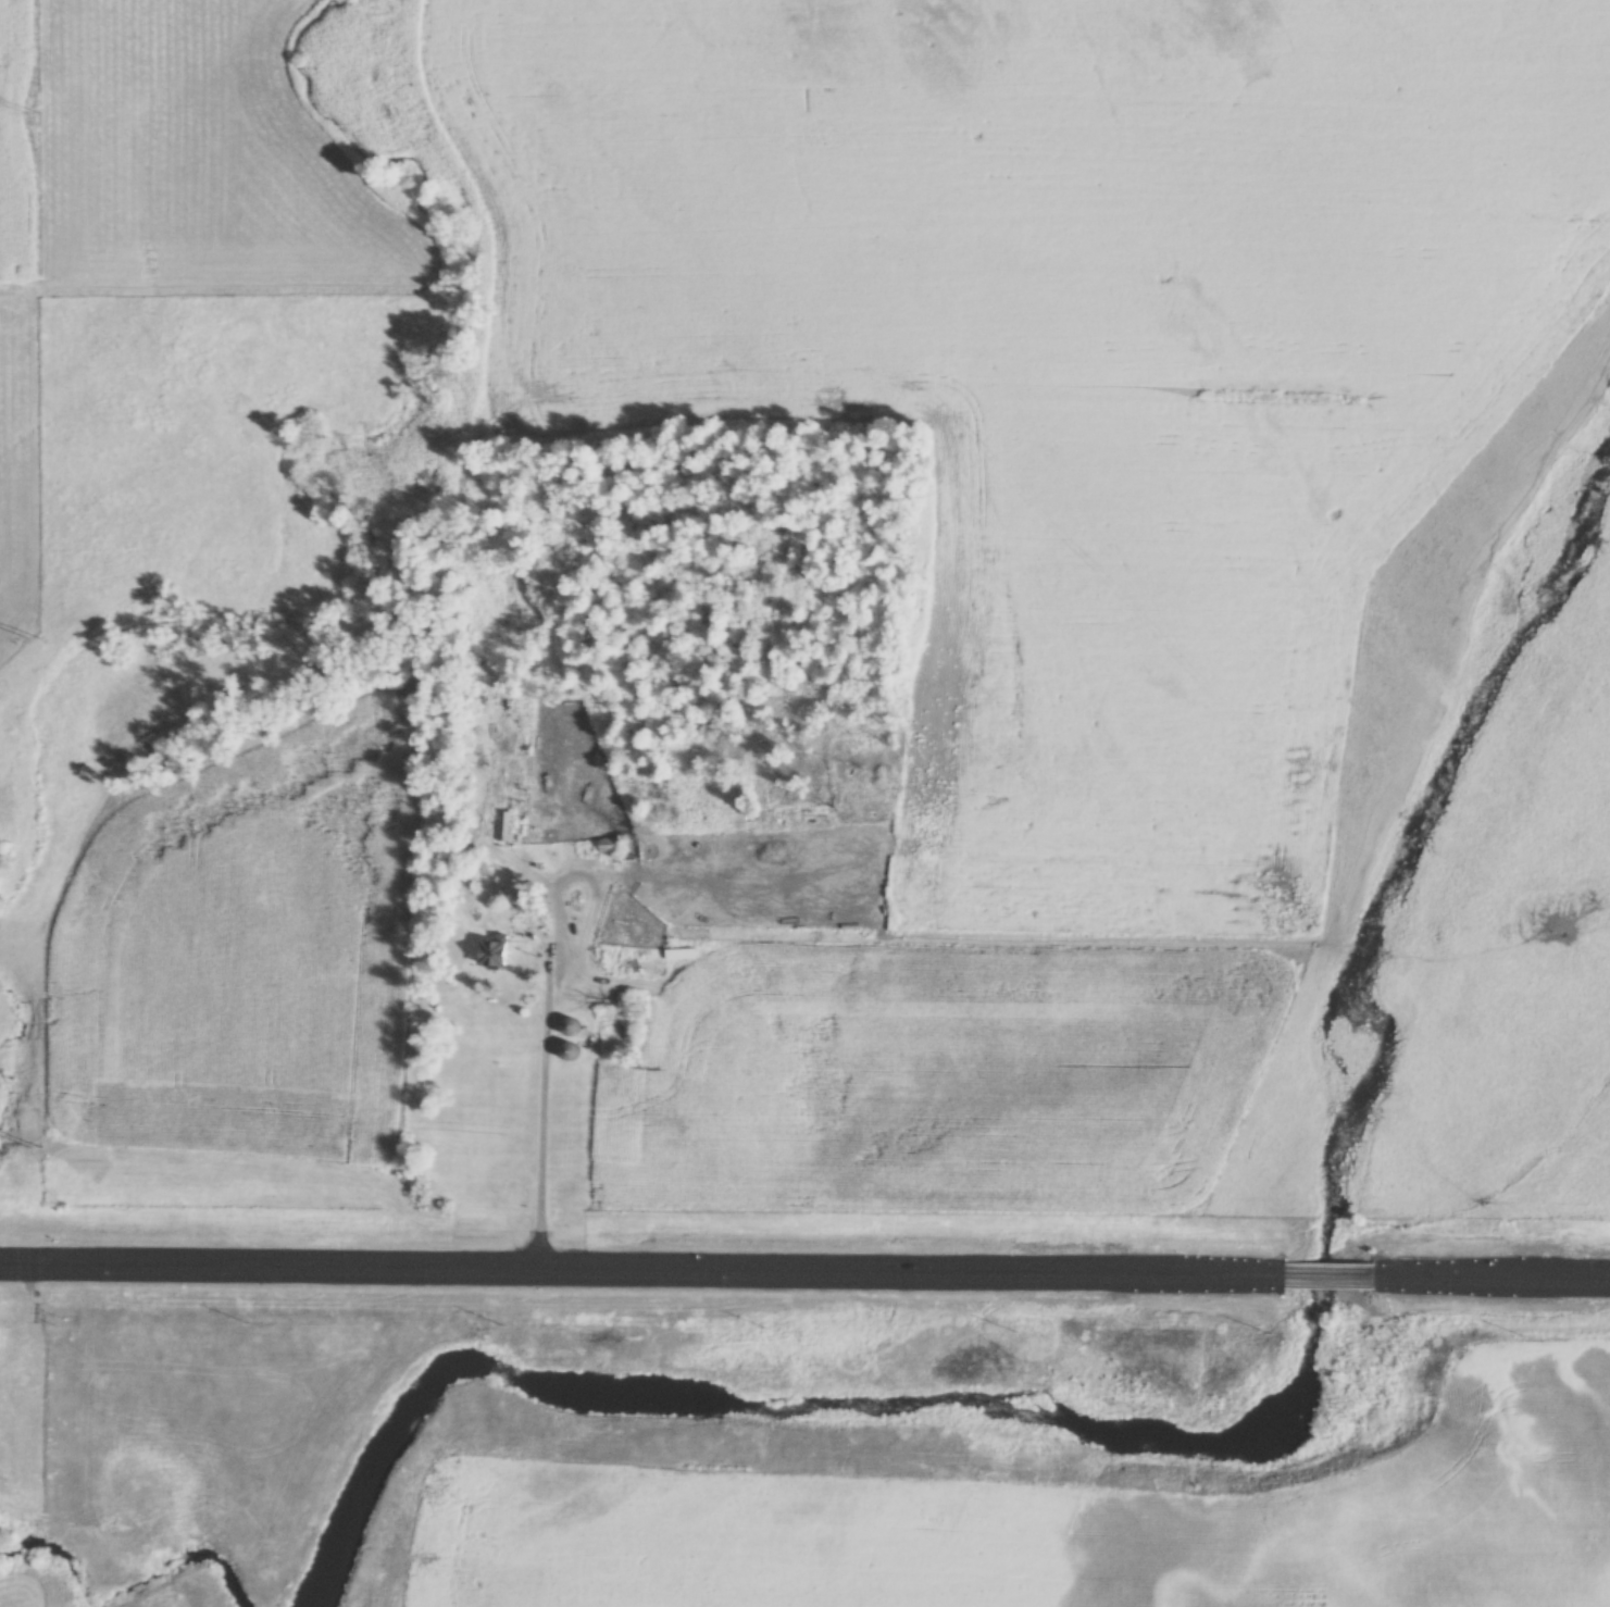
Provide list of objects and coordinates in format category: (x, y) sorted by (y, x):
power tower: (30, 112)
power tower: (36, 639)
building: (506, 827)
building: (498, 952)
building: (612, 961)
road: (546, 1024)
building: (572, 1027)
building: (573, 1052)
power tower: (38, 1148)
road: (641, 1271)
road: (1332, 1275)
road: (1495, 1278)
power tower: (63, 1322)

